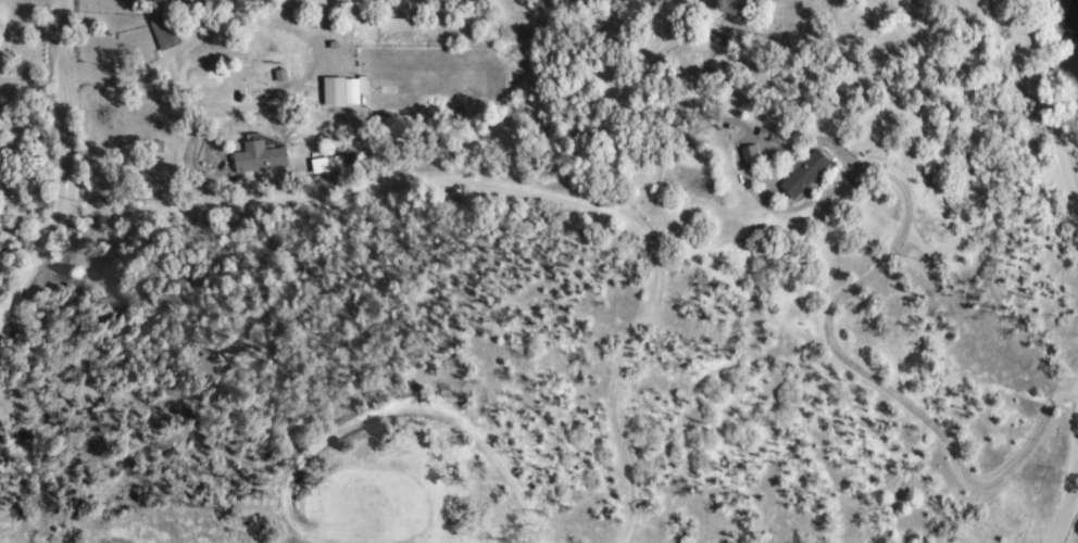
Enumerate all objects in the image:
building: (398, 24)
building: (165, 29)
building: (284, 75)
building: (346, 90)
road: (1046, 106)
road: (1067, 136)
building: (752, 154)
building: (262, 157)
building: (328, 165)
road: (67, 174)
building: (808, 174)
road: (519, 189)
road: (845, 359)
road: (497, 468)
road: (1062, 496)
road: (1068, 505)

